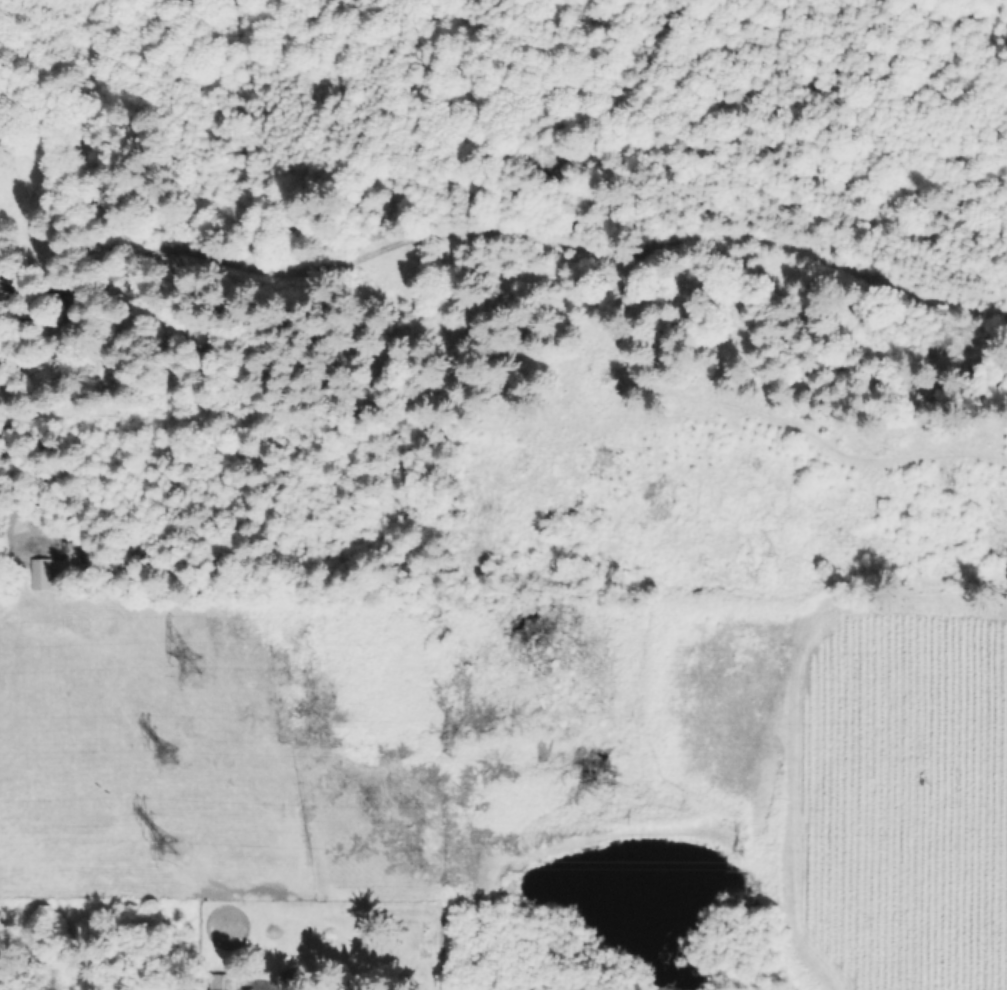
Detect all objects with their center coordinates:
building: (47, 572)
power tower: (192, 666)
power tower: (168, 758)
power tower: (162, 847)
building: (294, 979)

